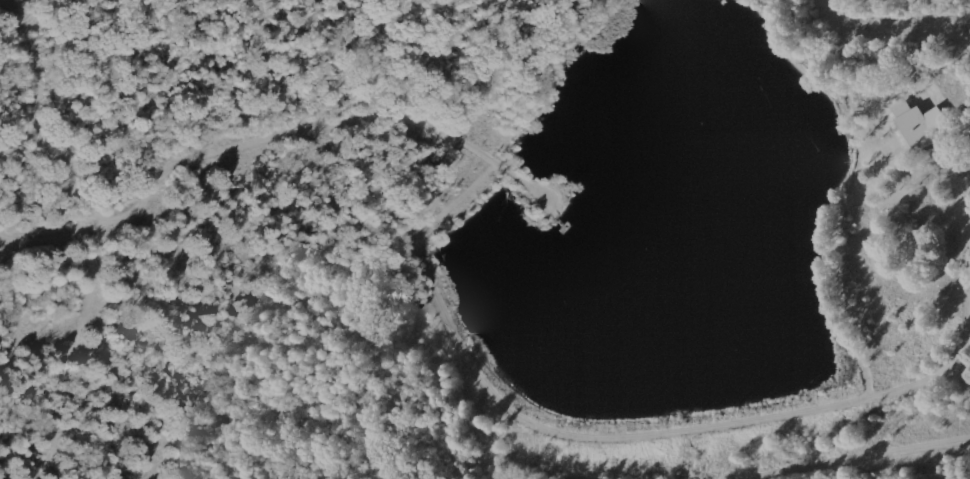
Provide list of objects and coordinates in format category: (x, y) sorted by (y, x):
building: (921, 123)

